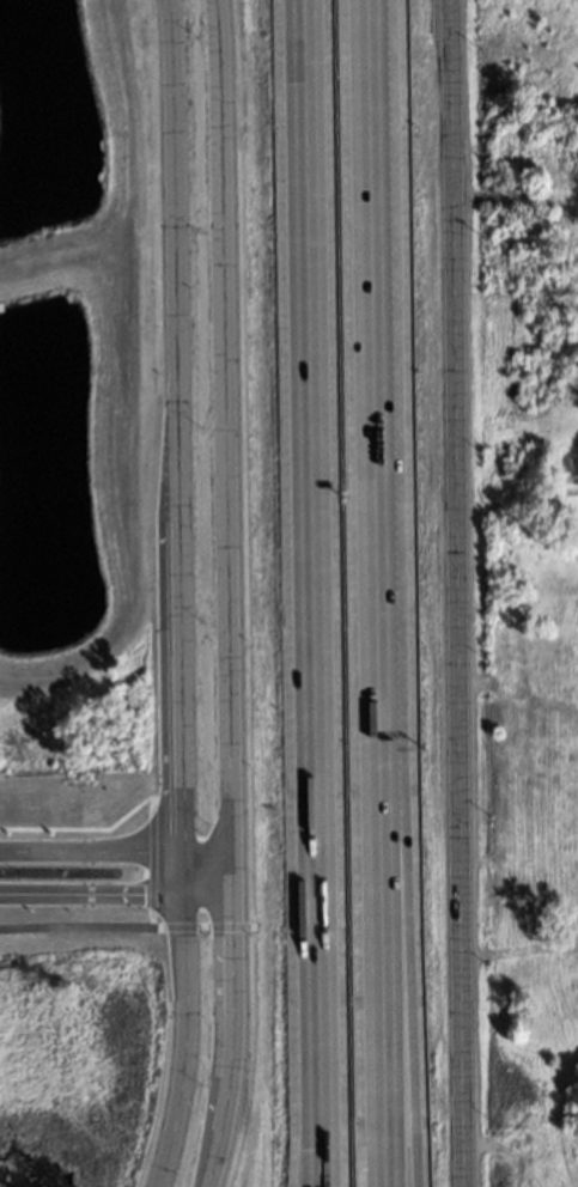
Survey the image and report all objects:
road: (170, 211)
road: (223, 425)
road: (315, 561)
road: (393, 592)
road: (461, 593)
road: (178, 637)
road: (115, 852)
road: (115, 894)
road: (127, 927)
road: (232, 1019)
road: (185, 1021)
crop: (537, 1153)
road: (318, 1156)

